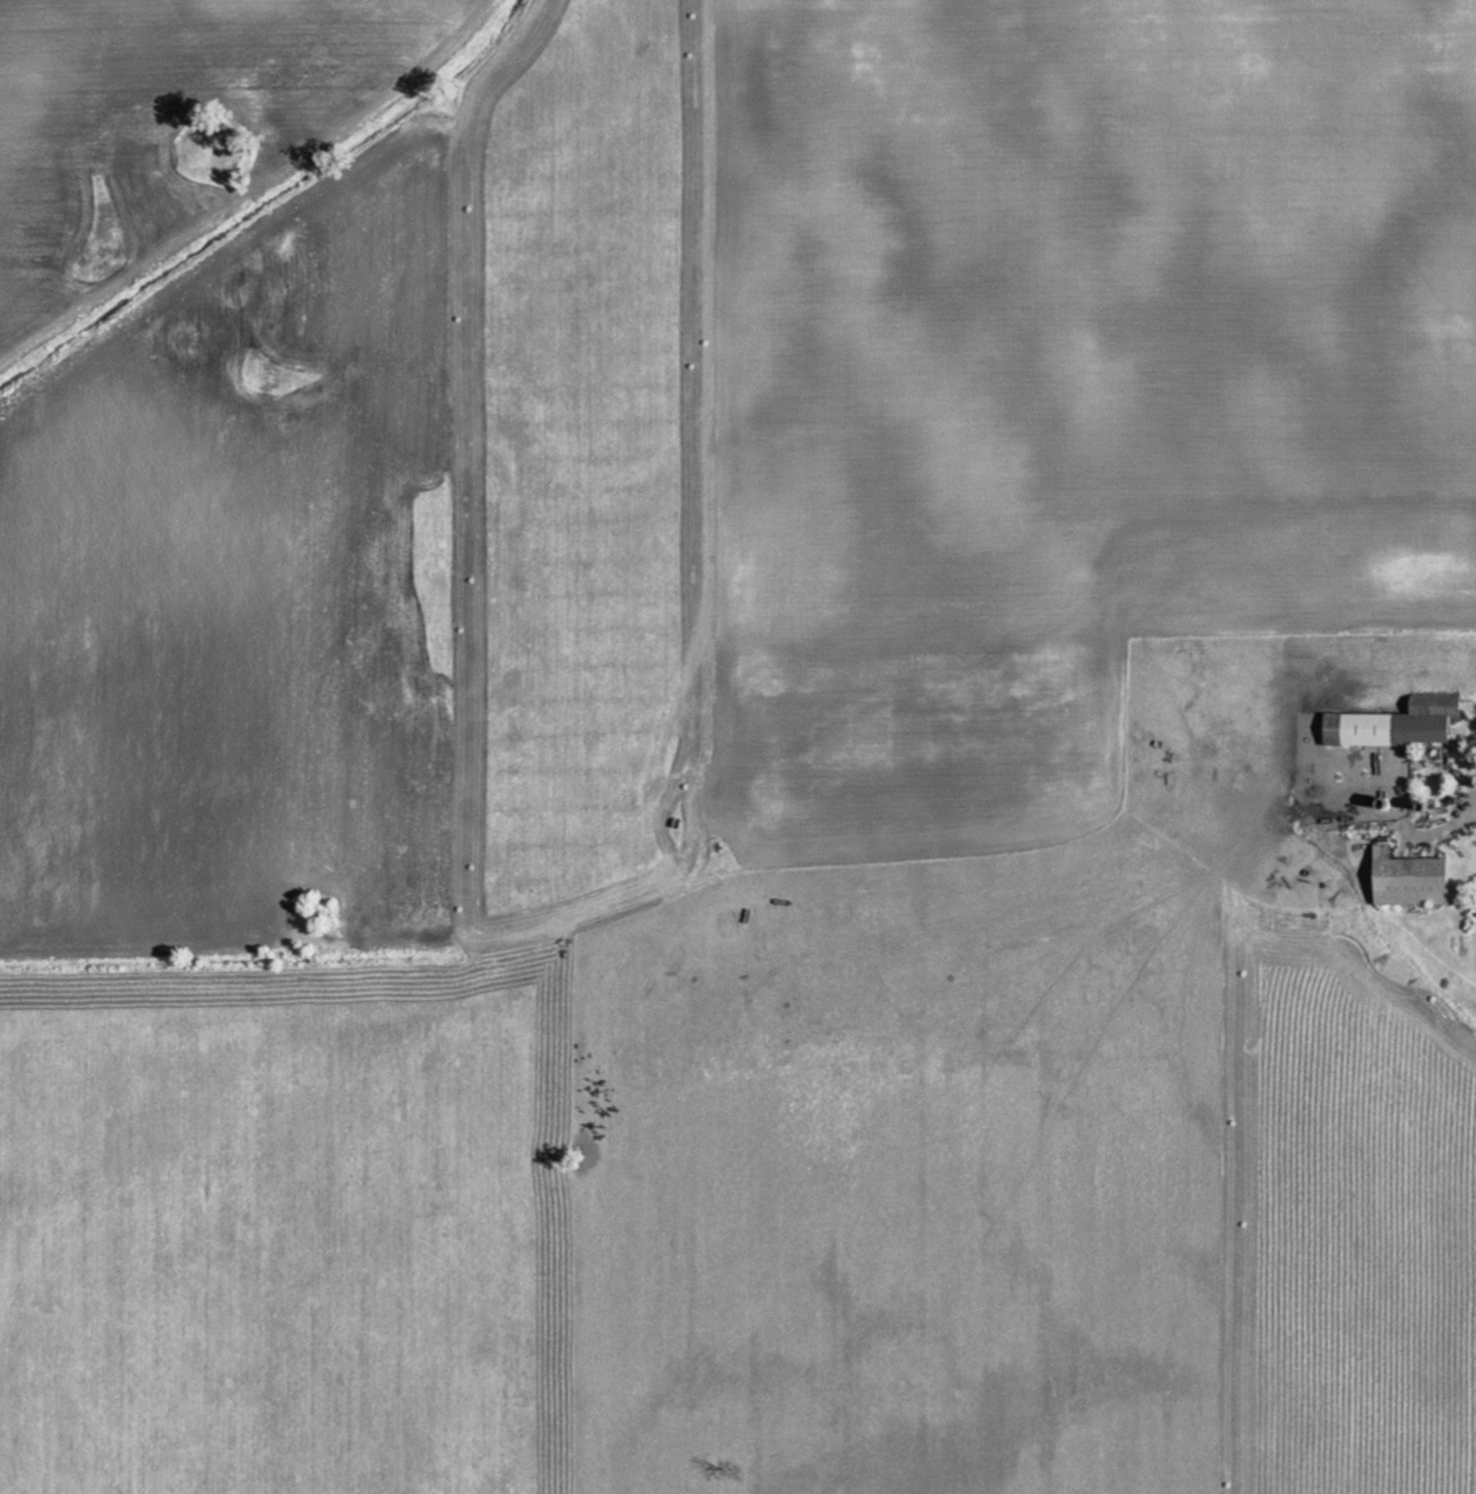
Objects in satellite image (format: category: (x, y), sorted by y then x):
building: (1390, 723)
building: (1400, 878)

